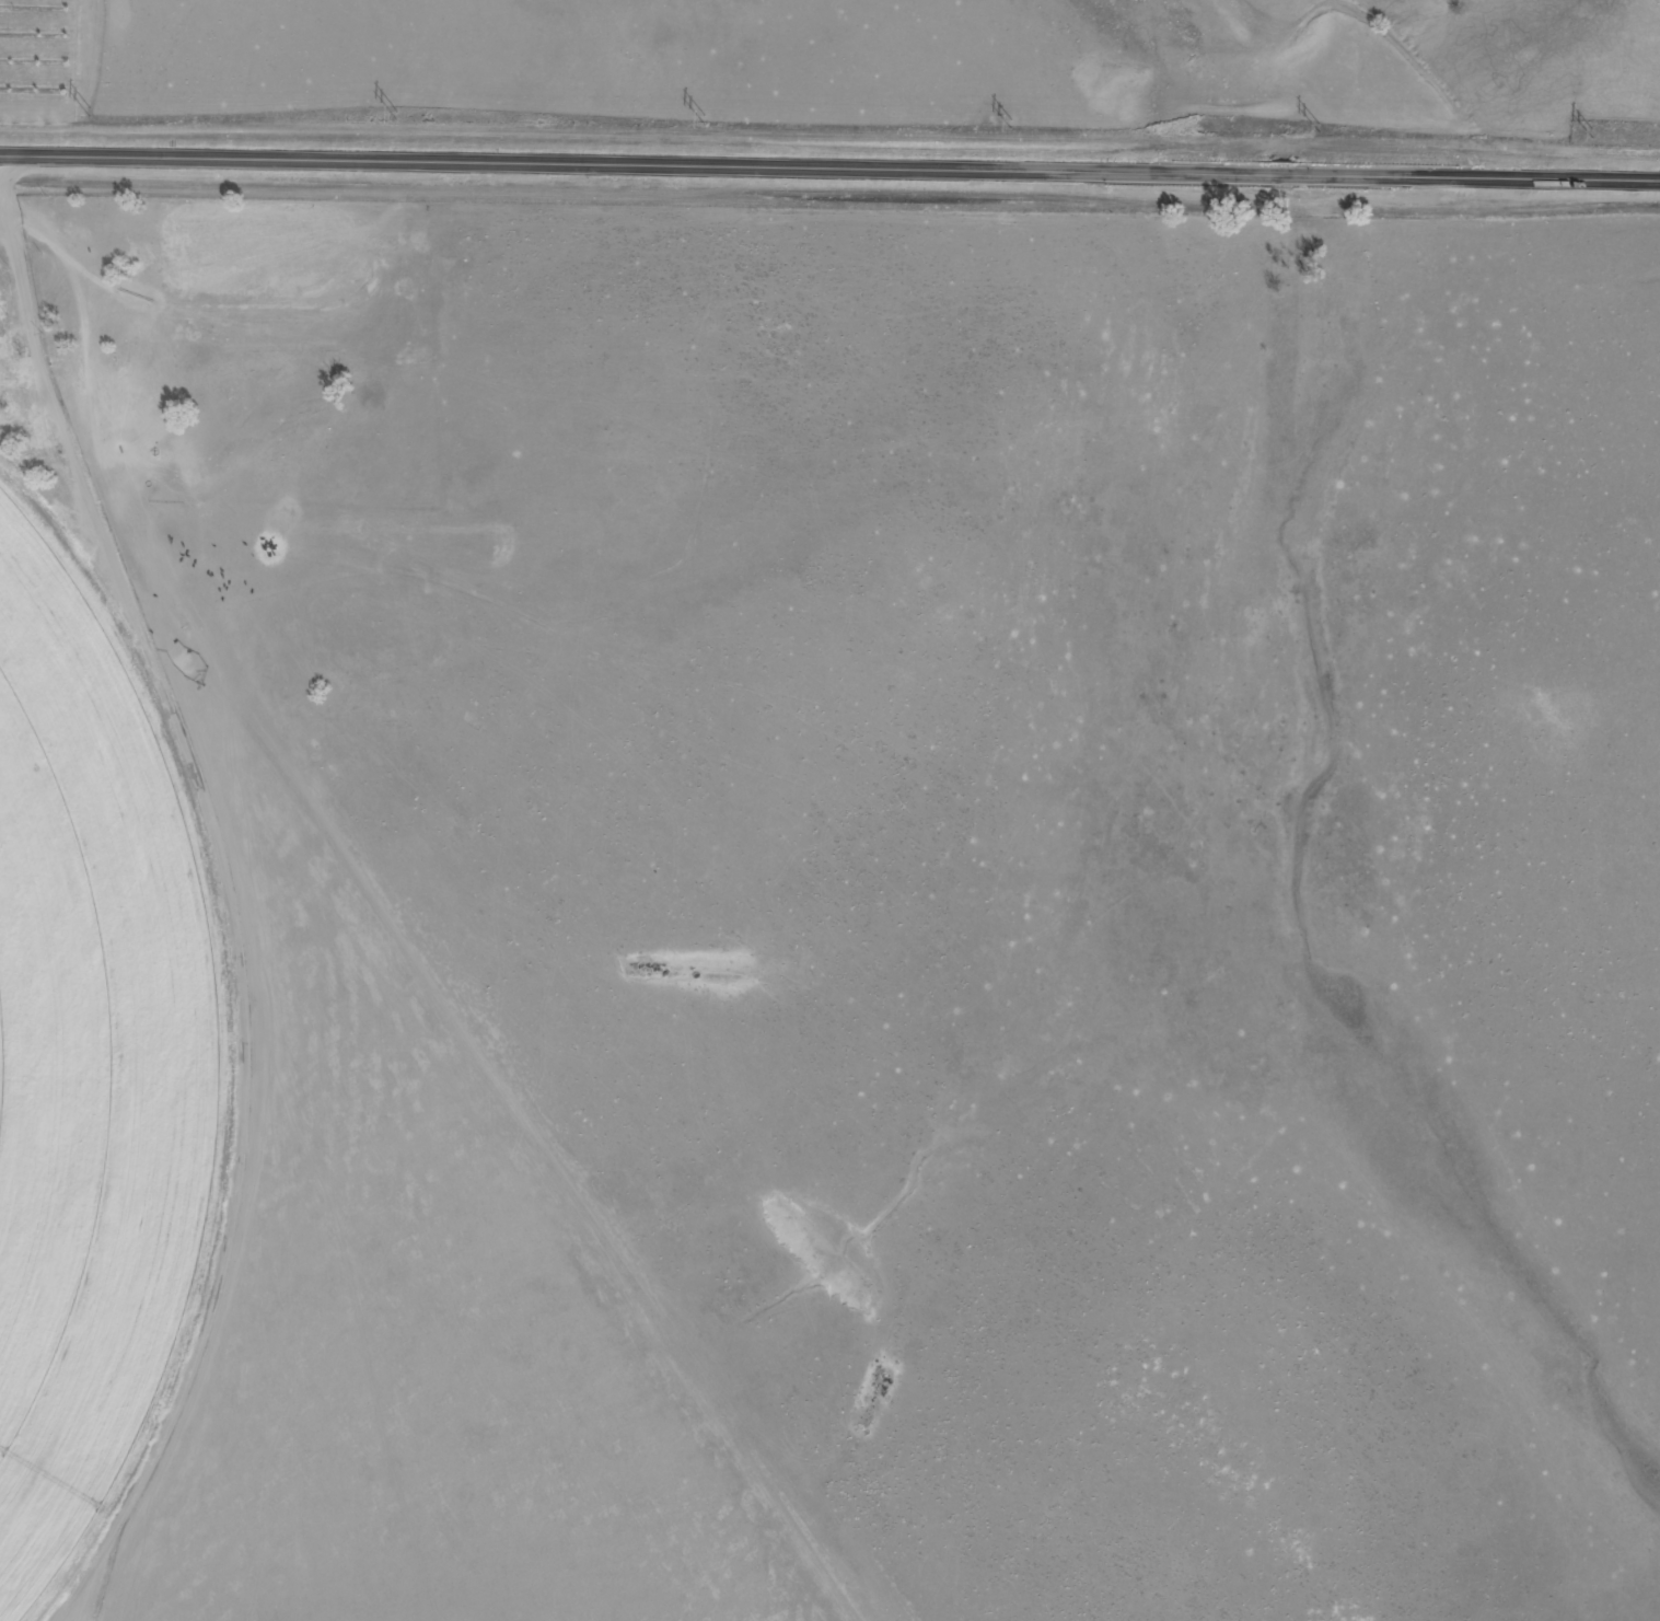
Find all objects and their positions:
road: (829, 176)
road: (82, 296)

